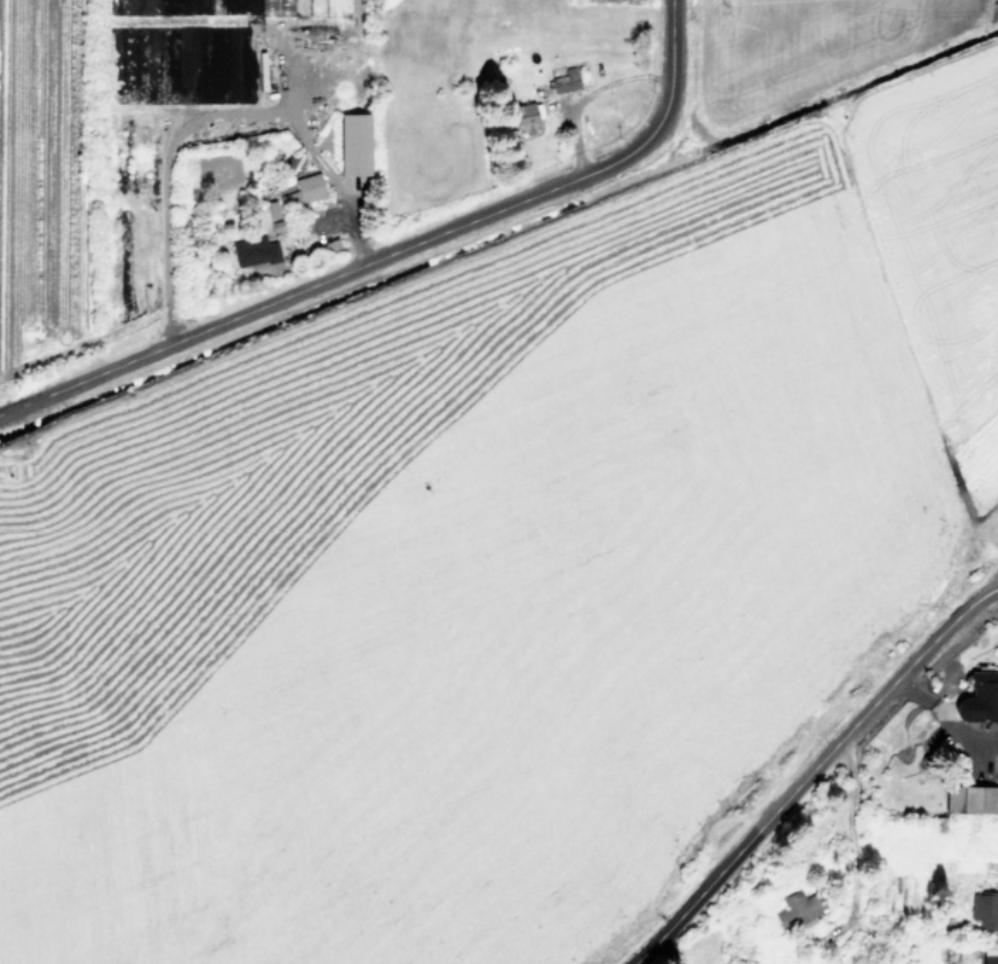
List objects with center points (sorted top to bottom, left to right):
building: (564, 81)
road: (208, 114)
building: (525, 117)
crop: (247, 119)
building: (354, 143)
building: (303, 190)
building: (272, 209)
building: (254, 251)
road: (392, 253)
crop: (514, 536)
building: (979, 697)
road: (811, 771)
building: (973, 796)
road: (855, 828)
building: (985, 909)
building: (798, 910)
road: (672, 945)
building: (989, 952)
building: (839, 963)

